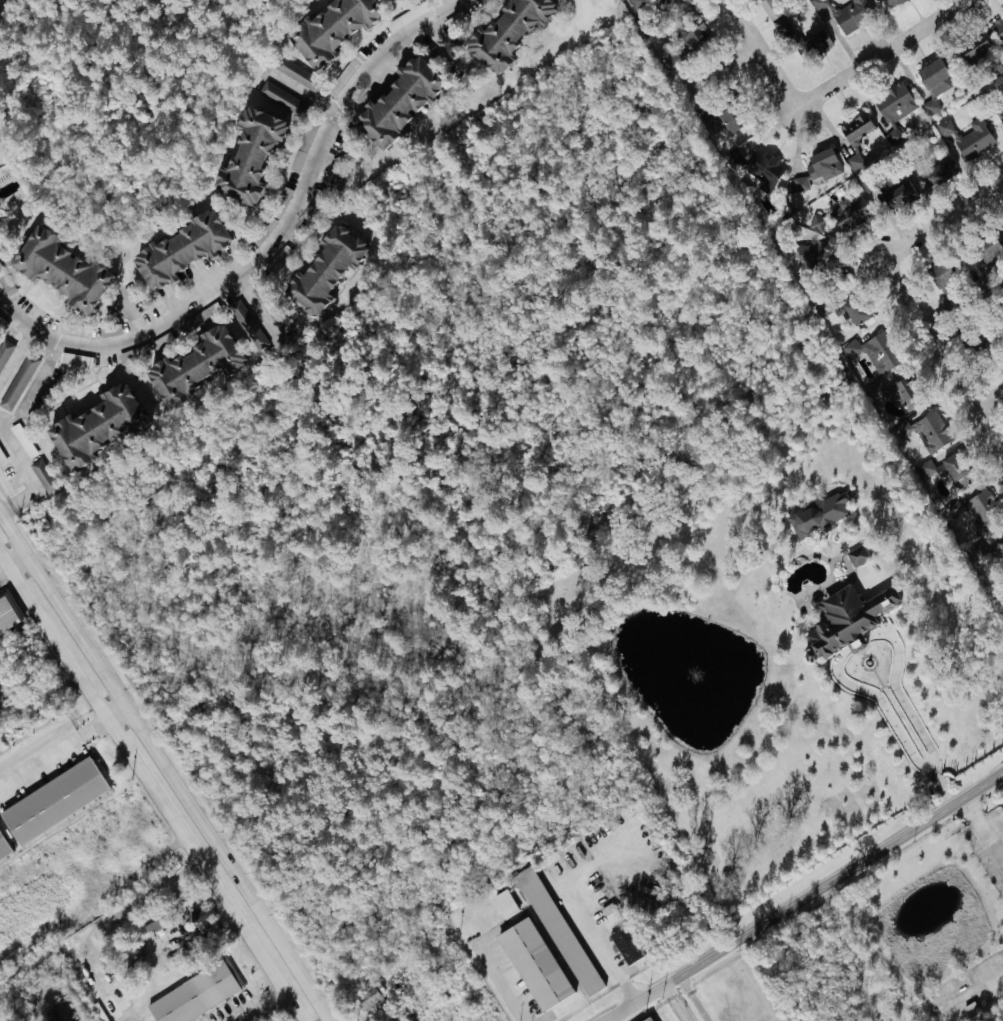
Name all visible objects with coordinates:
building: (890, 2)
building: (768, 8)
building: (843, 15)
building: (328, 29)
building: (997, 29)
building: (502, 32)
building: (785, 34)
building: (694, 35)
road: (444, 44)
building: (972, 47)
road: (763, 53)
road: (882, 53)
road: (719, 67)
building: (932, 78)
building: (299, 79)
building: (278, 101)
building: (394, 103)
building: (929, 107)
building: (893, 110)
building: (1001, 118)
building: (964, 138)
building: (851, 146)
building: (245, 157)
building: (815, 169)
building: (763, 170)
building: (937, 174)
building: (891, 194)
building: (849, 213)
road: (942, 220)
building: (985, 249)
building: (176, 250)
road: (266, 252)
building: (807, 256)
building: (320, 270)
building: (56, 271)
building: (851, 312)
road: (131, 313)
building: (280, 324)
building: (4, 350)
building: (872, 352)
road: (942, 354)
road: (17, 365)
building: (193, 365)
building: (16, 382)
building: (886, 394)
road: (989, 397)
building: (94, 427)
building: (928, 427)
road: (25, 469)
building: (940, 469)
building: (967, 506)
road: (6, 512)
building: (817, 515)
building: (855, 556)
road: (17, 561)
road: (4, 569)
building: (6, 616)
building: (847, 618)
road: (85, 643)
building: (853, 643)
road: (77, 669)
road: (841, 677)
road: (924, 742)
road: (62, 746)
building: (50, 800)
road: (984, 827)
building: (3, 850)
road: (249, 897)
road: (807, 897)
road: (226, 903)
building: (502, 904)
building: (558, 933)
building: (623, 945)
road: (606, 946)
building: (532, 963)
road: (988, 975)
road: (500, 983)
park: (49, 993)
building: (192, 995)
road: (703, 995)
road: (257, 1007)
building: (645, 1019)

